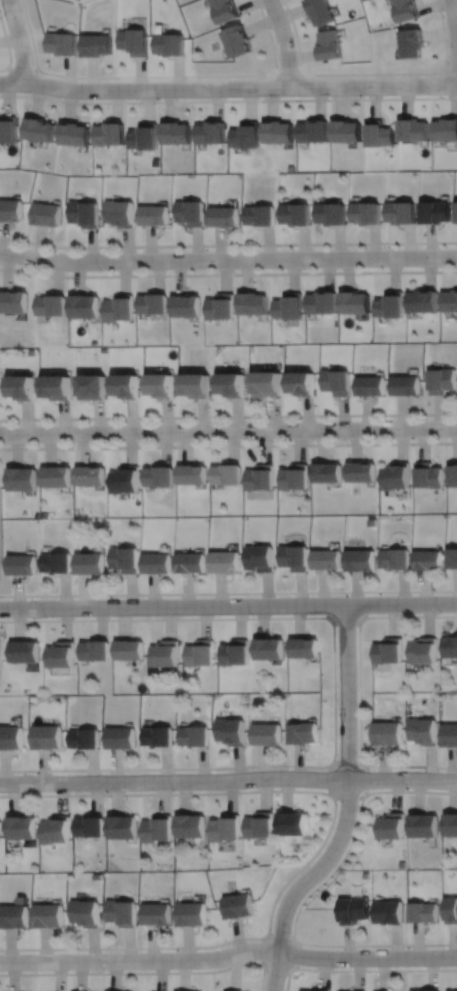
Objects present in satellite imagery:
building: (405, 9)
street lamp: (21, 10)
building: (225, 10)
building: (319, 11)
street lamp: (444, 18)
road: (454, 21)
street lamp: (293, 36)
road: (19, 40)
building: (236, 40)
building: (135, 41)
road: (284, 42)
building: (411, 42)
building: (63, 43)
building: (171, 44)
building: (97, 45)
building: (328, 45)
road: (6, 47)
road: (21, 69)
road: (449, 72)
road: (370, 73)
street lamp: (41, 74)
road: (287, 74)
road: (156, 76)
street lamp: (265, 78)
road: (228, 87)
street lamp: (363, 96)
street lamp: (159, 99)
road: (228, 101)
building: (7, 130)
building: (38, 130)
building: (412, 130)
building: (445, 130)
building: (311, 131)
building: (344, 131)
building: (276, 132)
building: (176, 133)
building: (211, 133)
building: (74, 134)
building: (109, 134)
building: (377, 134)
building: (245, 135)
building: (144, 137)
building: (11, 211)
building: (121, 213)
building: (191, 213)
building: (401, 213)
building: (436, 213)
building: (85, 214)
building: (330, 214)
building: (366, 214)
building: (47, 215)
building: (295, 215)
building: (155, 216)
building: (260, 216)
building: (226, 217)
road: (228, 245)
street lamp: (385, 247)
street lamp: (209, 249)
road: (228, 259)
street lamp: (304, 269)
street lamp: (100, 271)
road: (228, 273)
building: (13, 302)
building: (422, 302)
building: (449, 302)
building: (320, 303)
building: (353, 303)
building: (251, 304)
building: (153, 305)
building: (50, 306)
building: (185, 306)
building: (220, 306)
building: (287, 306)
building: (389, 306)
building: (83, 307)
building: (118, 309)
building: (443, 379)
building: (338, 380)
building: (301, 381)
building: (267, 382)
building: (162, 383)
building: (197, 383)
building: (231, 383)
building: (407, 383)
building: (93, 384)
building: (126, 384)
building: (372, 384)
building: (21, 385)
building: (57, 385)
road: (228, 416)
street lamp: (426, 418)
street lamp: (249, 420)
street lamp: (40, 424)
road: (228, 431)
street lamp: (344, 439)
street lamp: (140, 442)
road: (228, 445)
building: (361, 470)
building: (326, 471)
building: (192, 473)
building: (227, 473)
building: (453, 473)
building: (89, 474)
building: (428, 474)
building: (55, 475)
building: (159, 475)
building: (395, 475)
building: (294, 476)
building: (260, 477)
building: (21, 478)
building: (124, 479)
building: (295, 557)
building: (453, 557)
building: (262, 558)
building: (397, 558)
building: (126, 559)
building: (327, 559)
building: (362, 559)
building: (430, 559)
building: (227, 561)
building: (57, 562)
building: (91, 562)
building: (159, 562)
building: (193, 562)
building: (23, 564)
road: (228, 593)
street lamp: (345, 594)
street lamp: (142, 597)
road: (228, 606)
street lamp: (440, 613)
street lamp: (45, 616)
street lamp: (252, 616)
road: (346, 617)
building: (451, 646)
building: (305, 648)
building: (129, 649)
building: (270, 649)
building: (95, 650)
building: (423, 650)
building: (24, 651)
building: (389, 651)
building: (165, 653)
building: (201, 653)
building: (235, 653)
building: (60, 654)
road: (359, 690)
road: (334, 692)
building: (232, 731)
building: (423, 731)
building: (305, 733)
building: (268, 734)
building: (389, 734)
building: (450, 735)
building: (196, 736)
building: (48, 737)
building: (159, 737)
building: (12, 738)
building: (86, 738)
building: (122, 738)
road: (228, 780)
road: (334, 791)
road: (347, 808)
building: (0, 818)
building: (0, 823)
building: (292, 824)
building: (423, 825)
building: (449, 825)
building: (191, 826)
building: (260, 826)
building: (392, 826)
building: (91, 827)
building: (123, 827)
building: (22, 828)
building: (158, 829)
building: (225, 829)
building: (56, 830)
road: (324, 840)
road: (308, 895)
building: (240, 907)
building: (449, 910)
building: (354, 911)
building: (388, 911)
building: (87, 913)
building: (124, 913)
building: (423, 913)
building: (159, 915)
building: (194, 915)
building: (50, 916)
building: (15, 917)
road: (228, 954)
road: (288, 965)
road: (360, 969)
road: (147, 971)
building: (314, 989)
building: (381, 989)
building: (234, 990)
building: (353, 990)
building: (422, 990)

